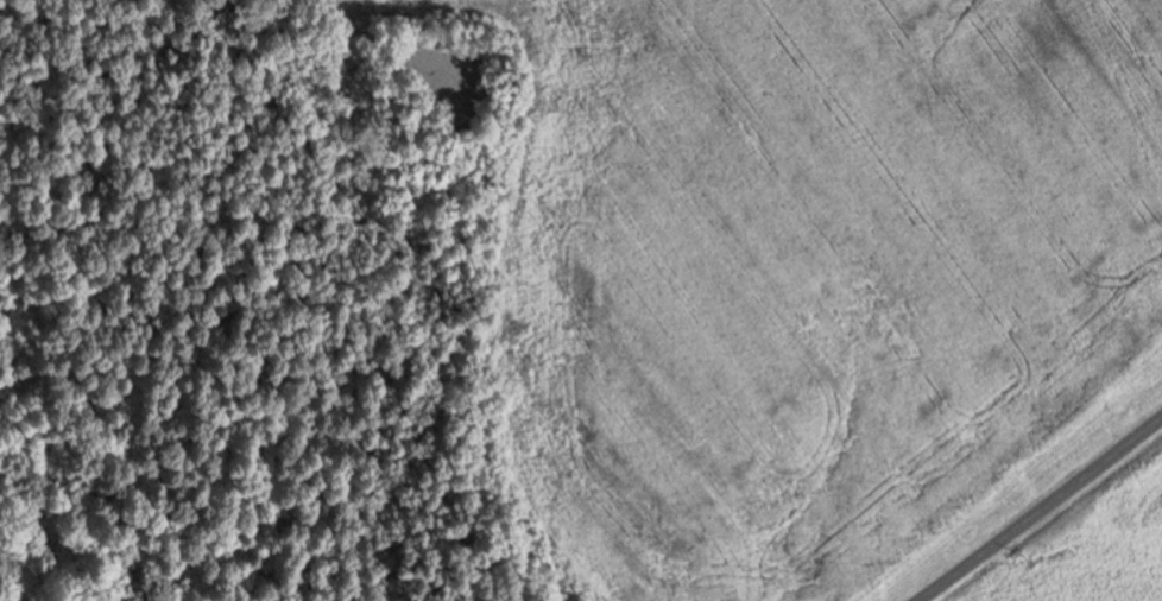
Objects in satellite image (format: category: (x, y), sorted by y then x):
road: (1046, 512)

